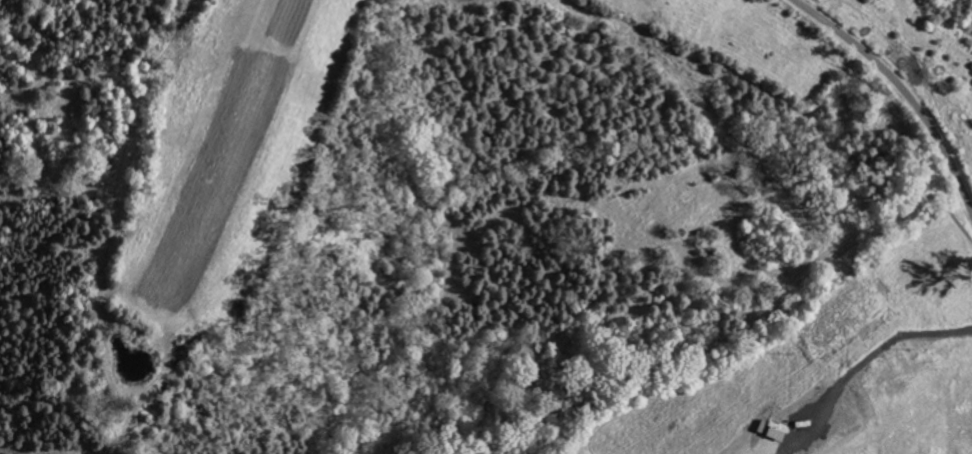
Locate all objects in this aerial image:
road: (902, 87)
road: (883, 349)
building: (774, 432)

